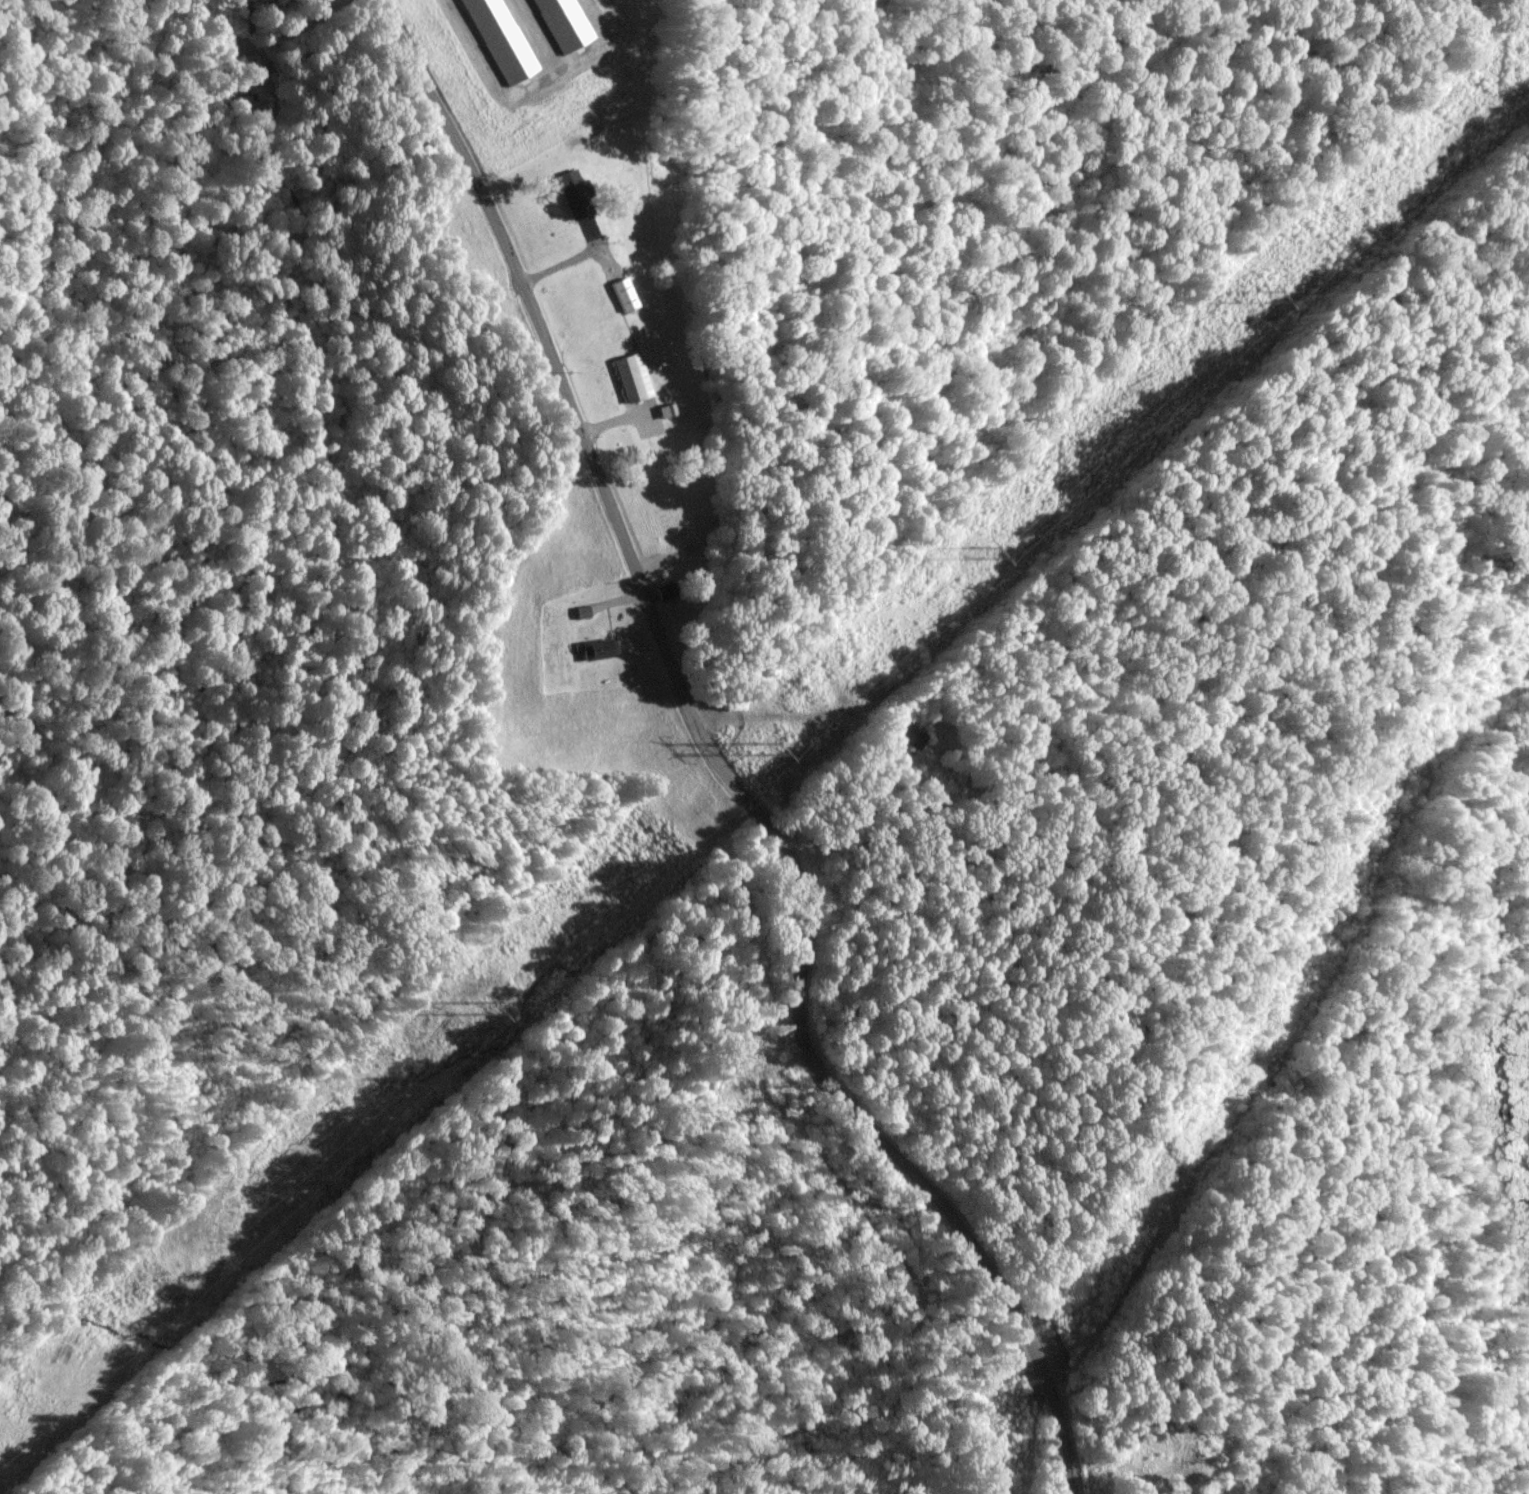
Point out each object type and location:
building: (258, 83)
building: (578, 194)
building: (625, 293)
power tower: (1260, 296)
building: (631, 373)
building: (664, 526)
power tower: (980, 551)
building: (667, 590)
building: (598, 647)
road: (670, 662)
power tower: (763, 748)
power tower: (471, 1008)
road: (1043, 1381)
building: (1192, 1434)
road: (1182, 1484)

